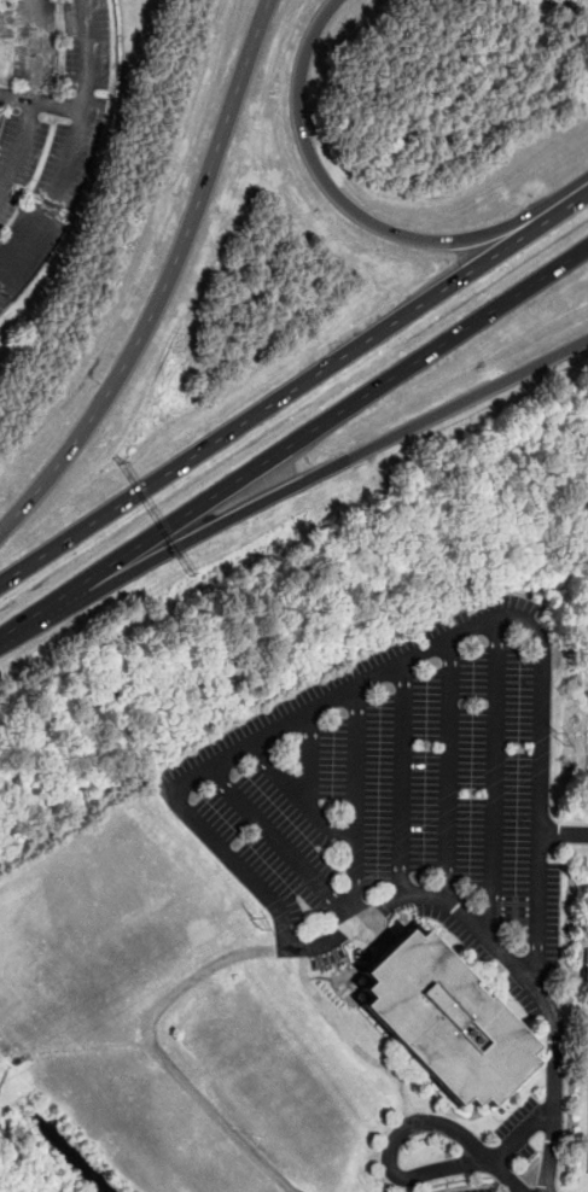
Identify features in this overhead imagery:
road: (34, 48)
building: (2, 54)
road: (88, 54)
road: (82, 112)
road: (16, 147)
road: (337, 199)
road: (565, 200)
road: (165, 281)
road: (273, 401)
road: (293, 440)
road: (331, 464)
road: (261, 638)
road: (226, 759)
road: (308, 761)
road: (446, 766)
road: (491, 778)
road: (400, 781)
road: (298, 796)
parking lot: (400, 797)
road: (355, 913)
road: (536, 988)
building: (442, 1023)
road: (348, 1040)
road: (83, 1050)
road: (161, 1054)
road: (6, 1067)
parking lot: (518, 1128)
road: (519, 1134)
road: (389, 1147)
road: (22, 1161)
parking lot: (587, 1162)
road: (501, 1171)
parking lot: (475, 1190)

